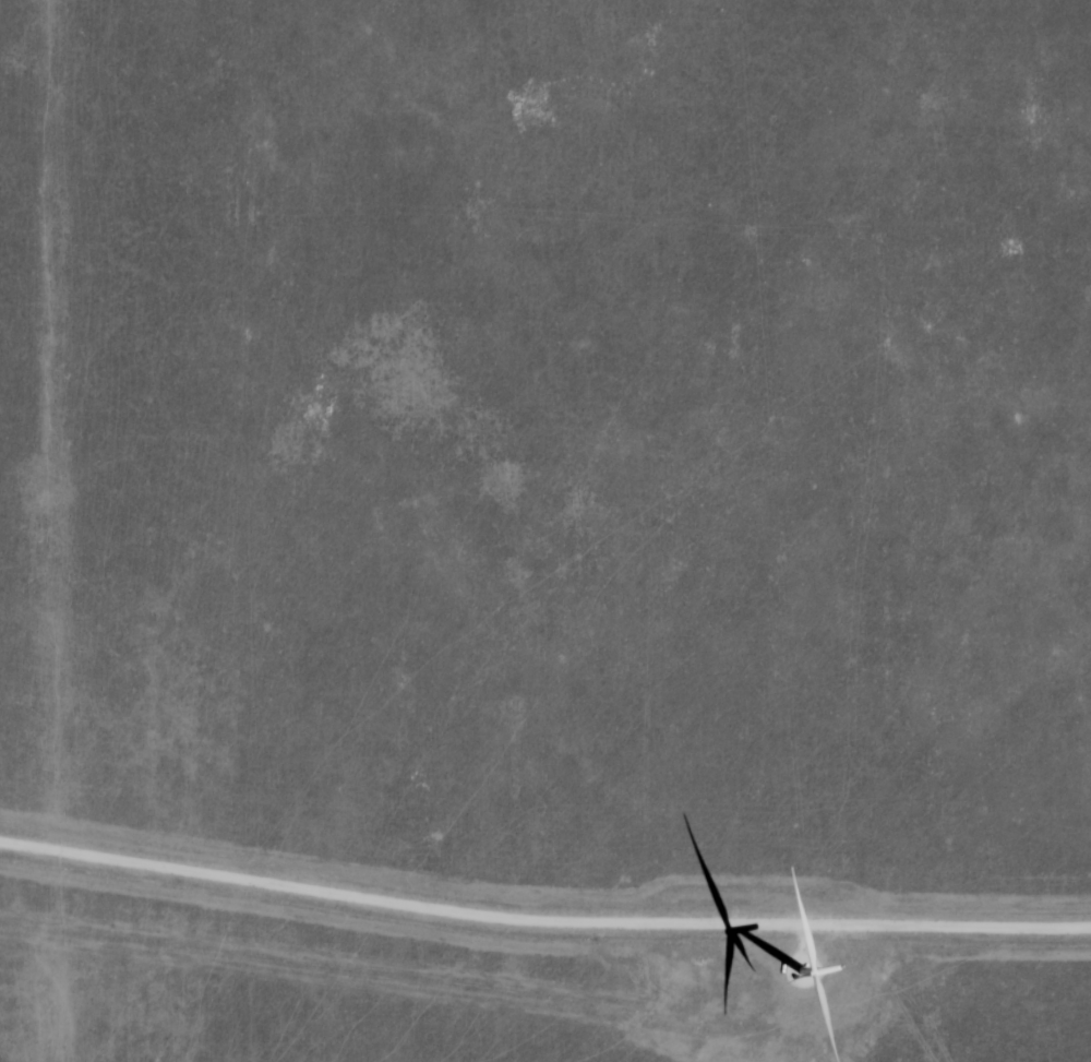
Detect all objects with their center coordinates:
wind turbine: (800, 971)

